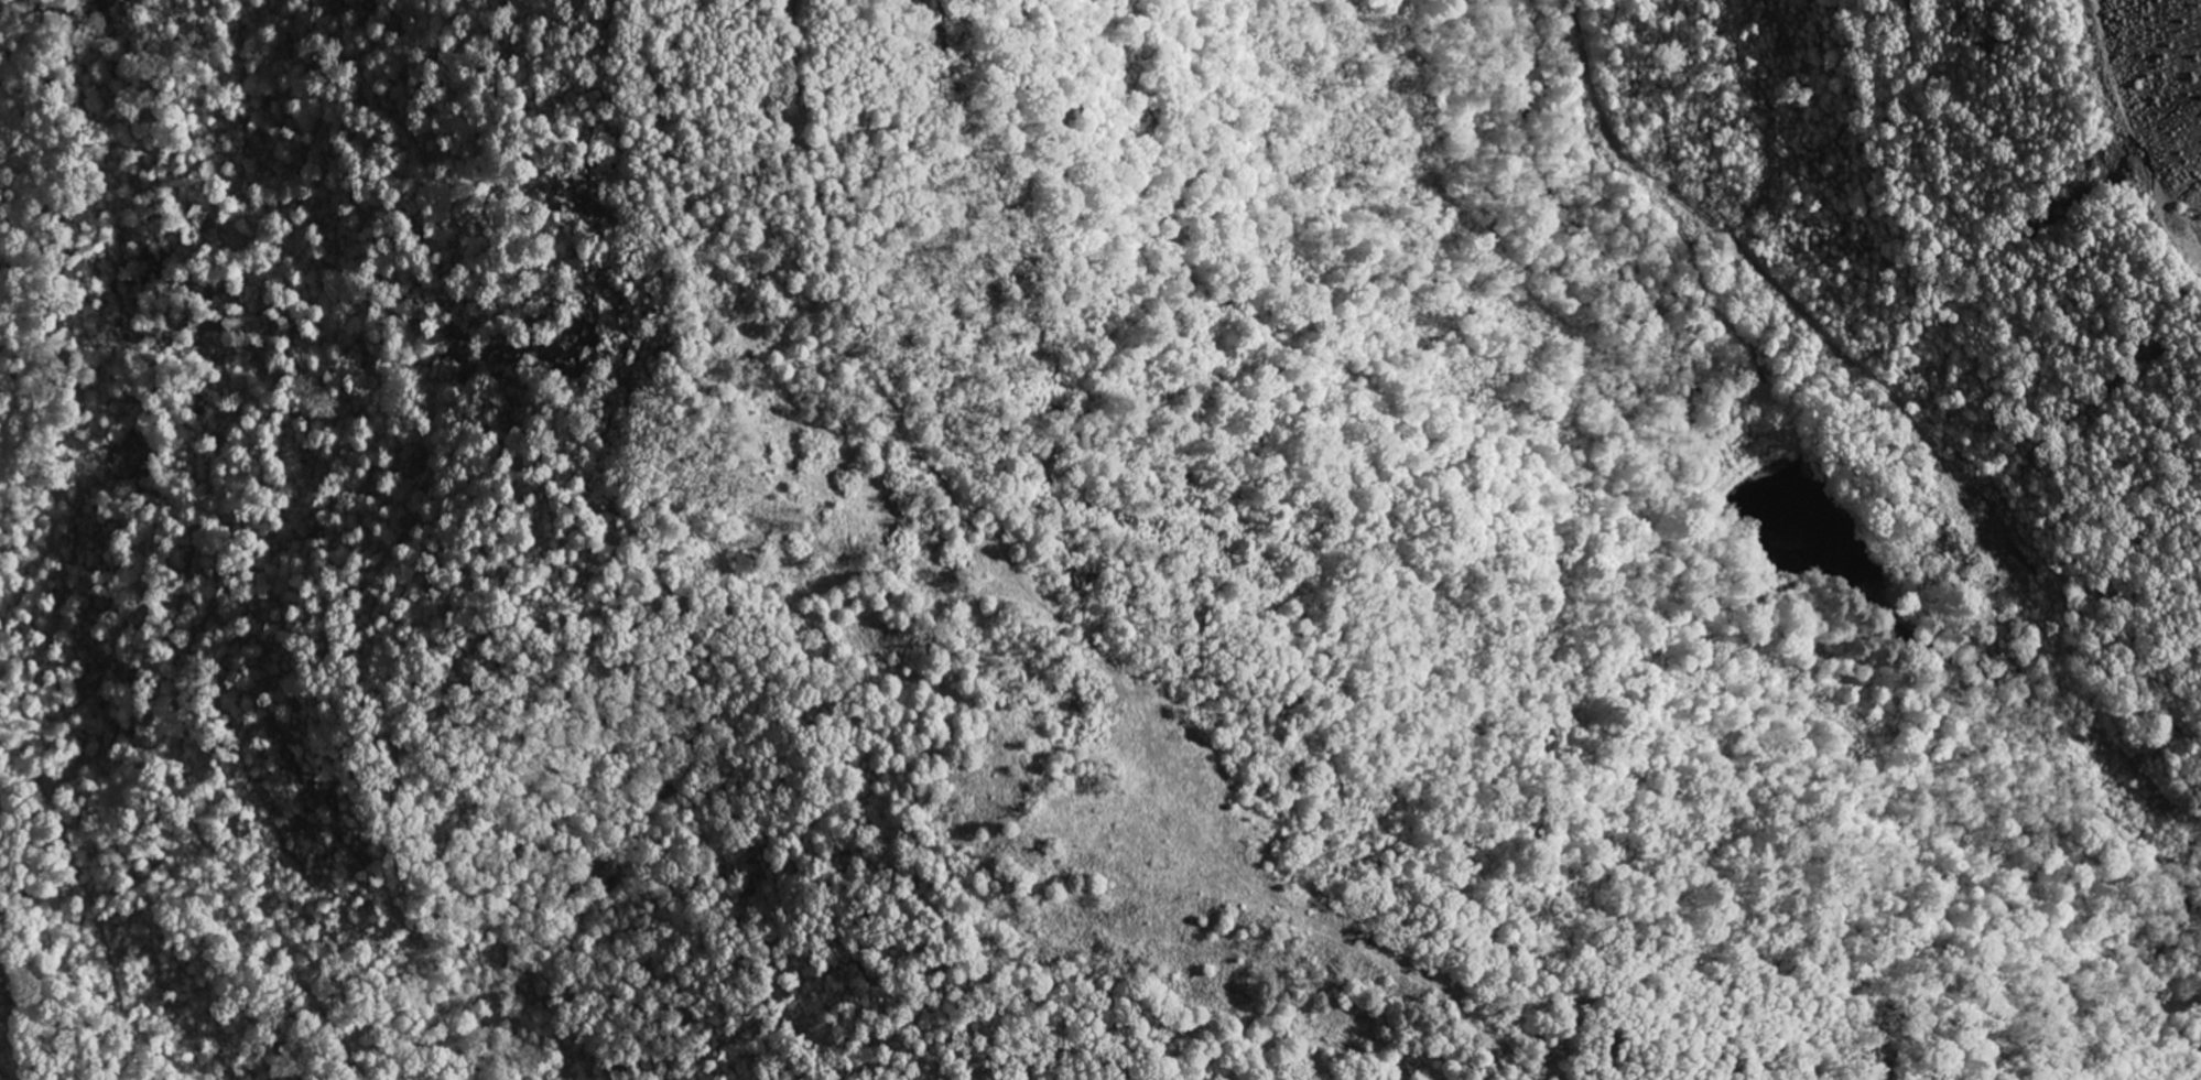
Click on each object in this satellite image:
road: (1, 1077)

